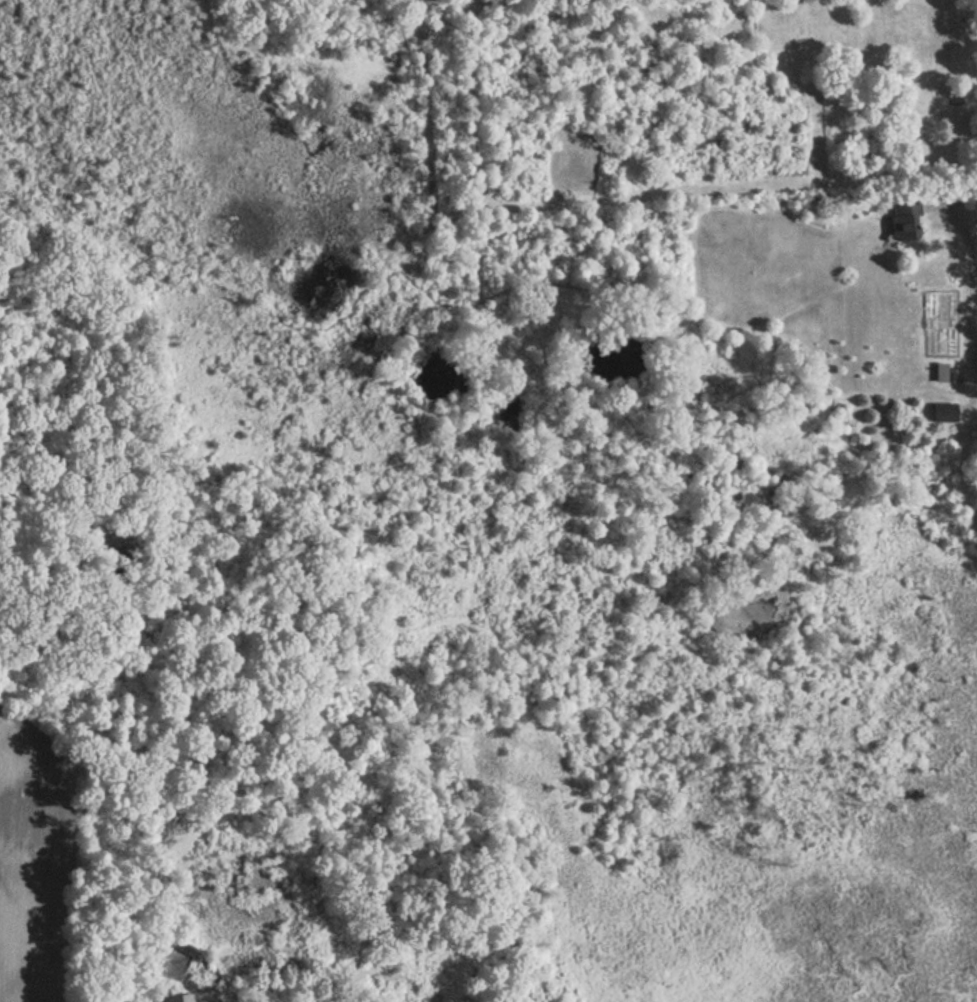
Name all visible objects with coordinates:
building: (902, 220)
road: (972, 291)
building: (942, 413)
building: (163, 1000)

